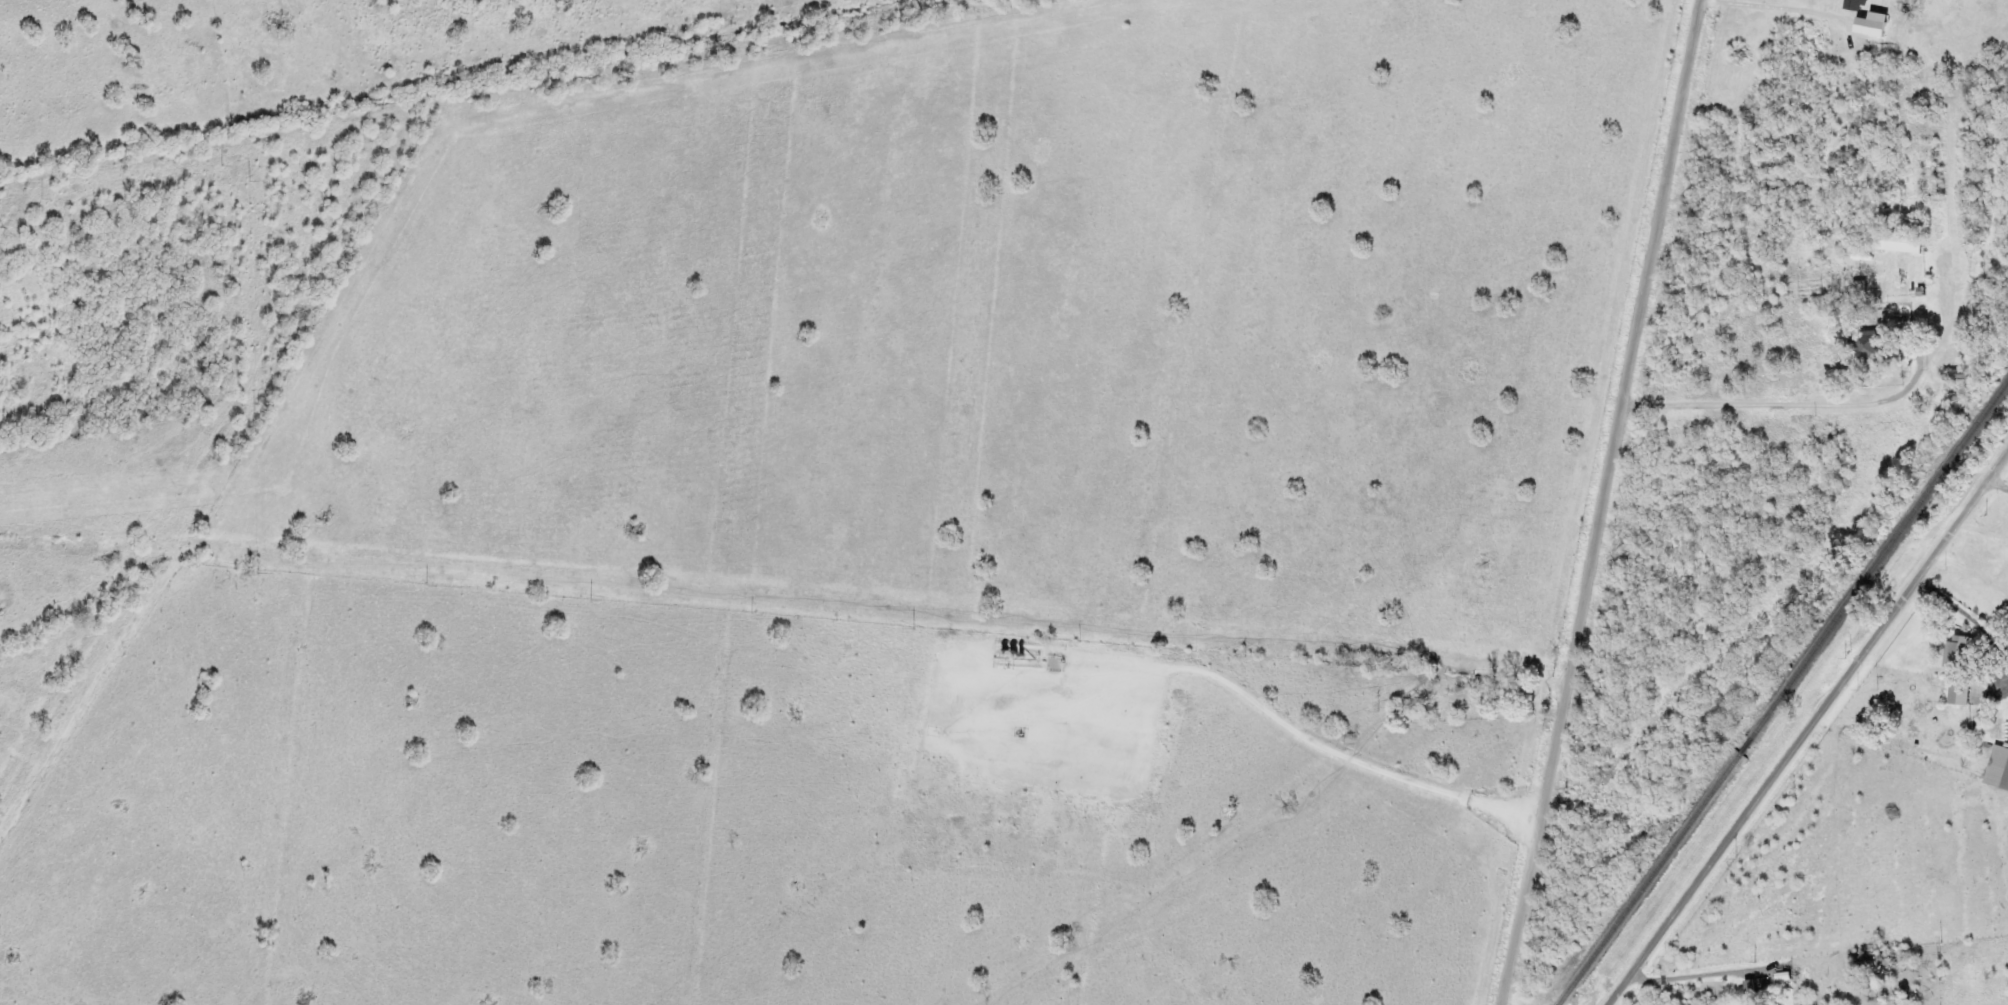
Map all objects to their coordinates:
building: (1855, 6)
building: (1872, 26)
building: (1899, 243)
building: (1871, 346)
road: (1606, 502)
building: (1958, 651)
railway: (1782, 691)
building: (1959, 694)
road: (1809, 730)
building: (1998, 769)
building: (1752, 994)

